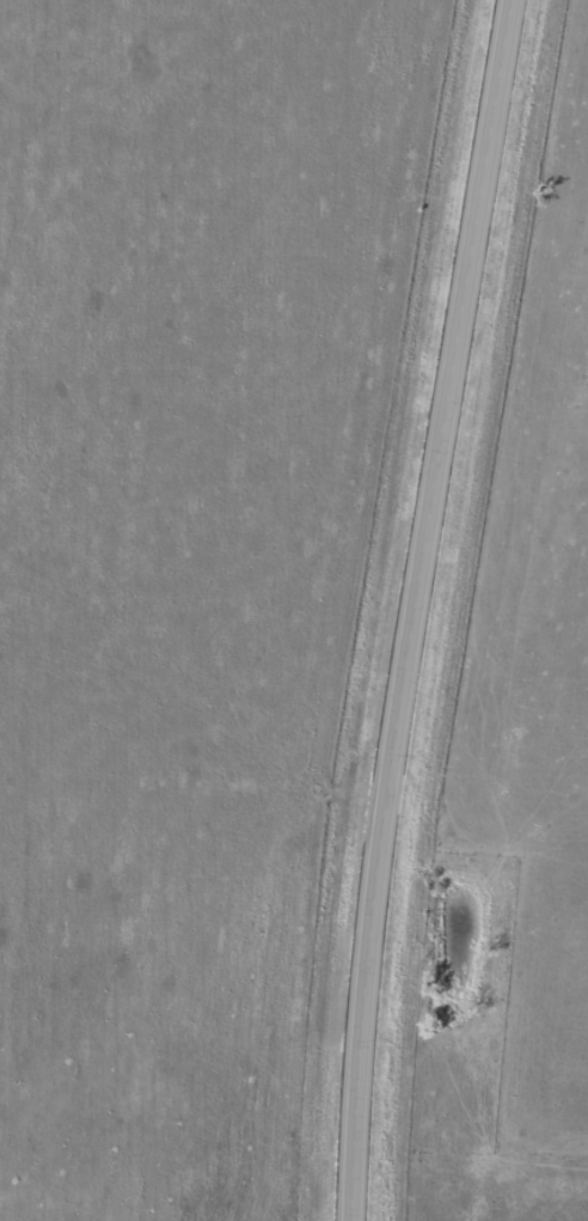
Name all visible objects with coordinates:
road: (417, 608)

